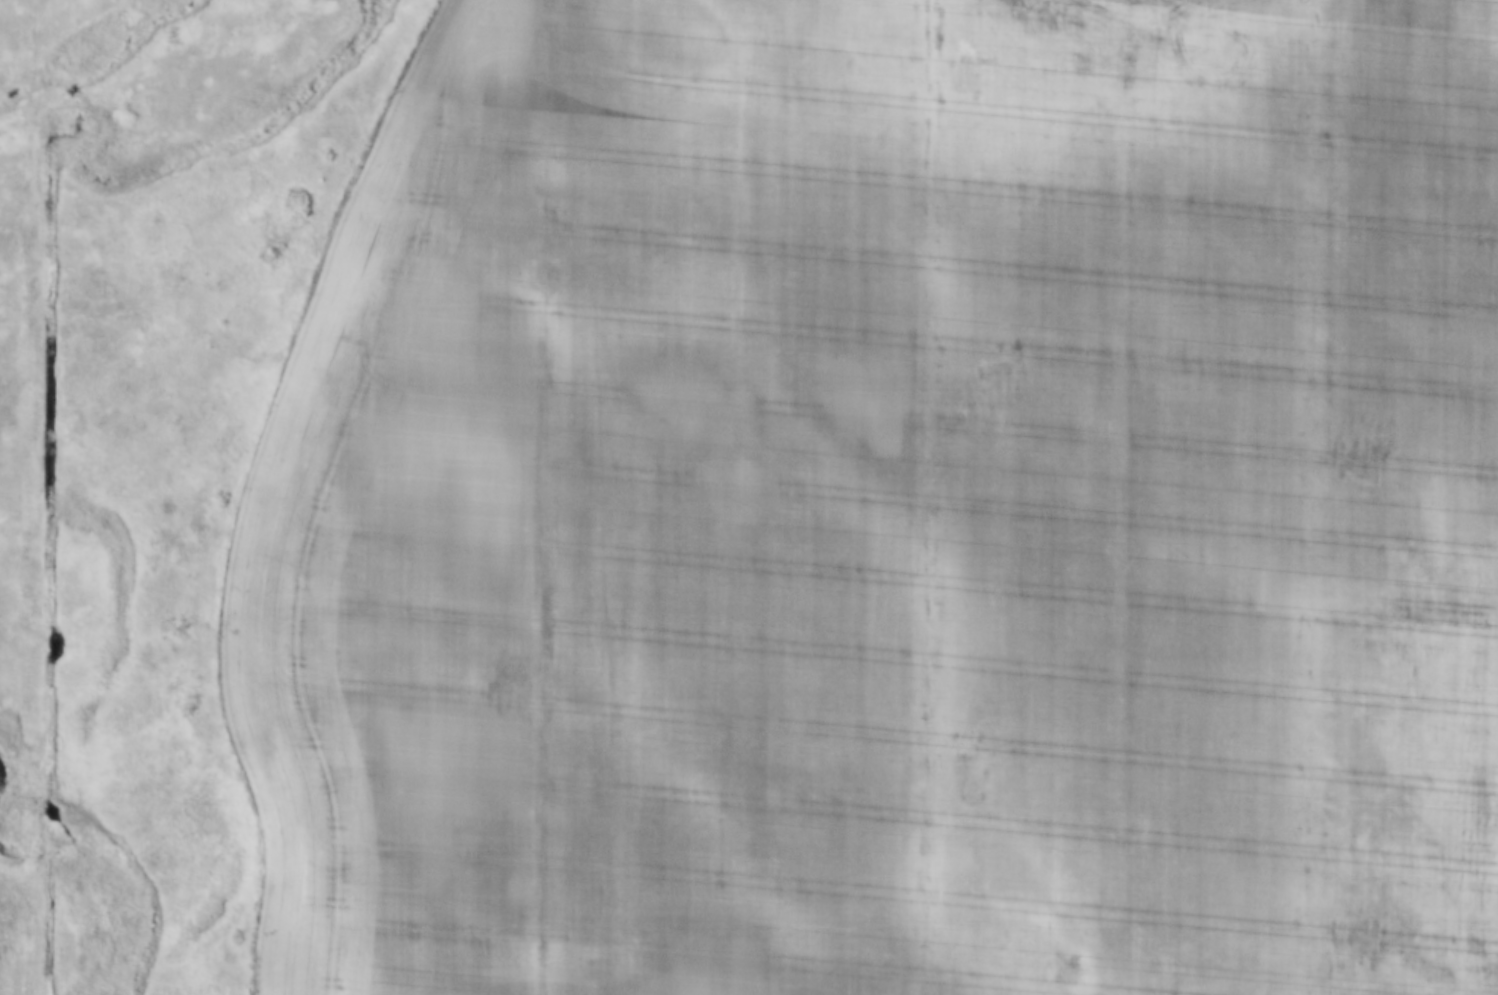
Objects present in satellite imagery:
road: (261, 484)

